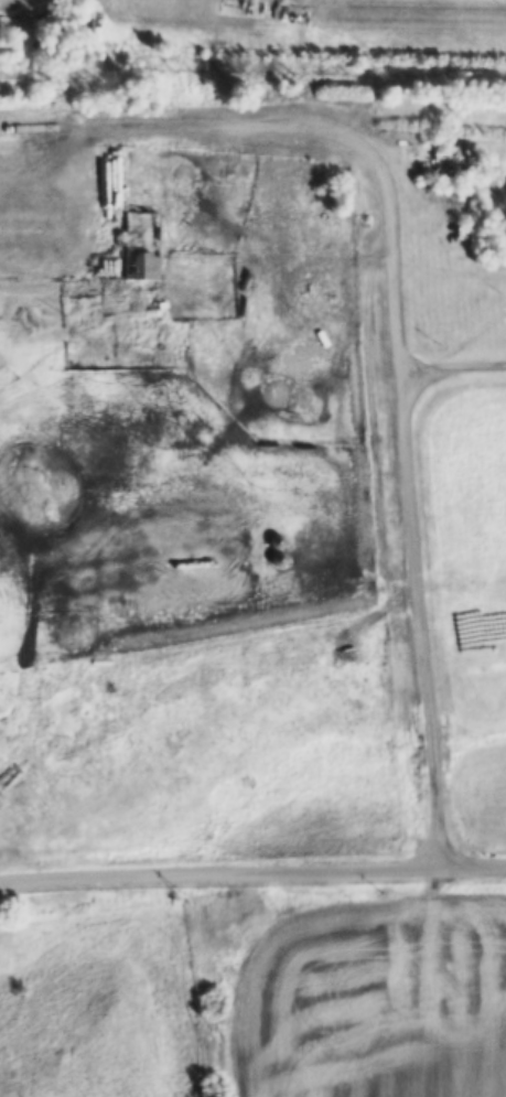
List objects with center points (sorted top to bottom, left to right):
road: (283, 13)
road: (314, 127)
building: (446, 164)
building: (142, 245)
building: (278, 547)
road: (412, 572)
road: (252, 868)

